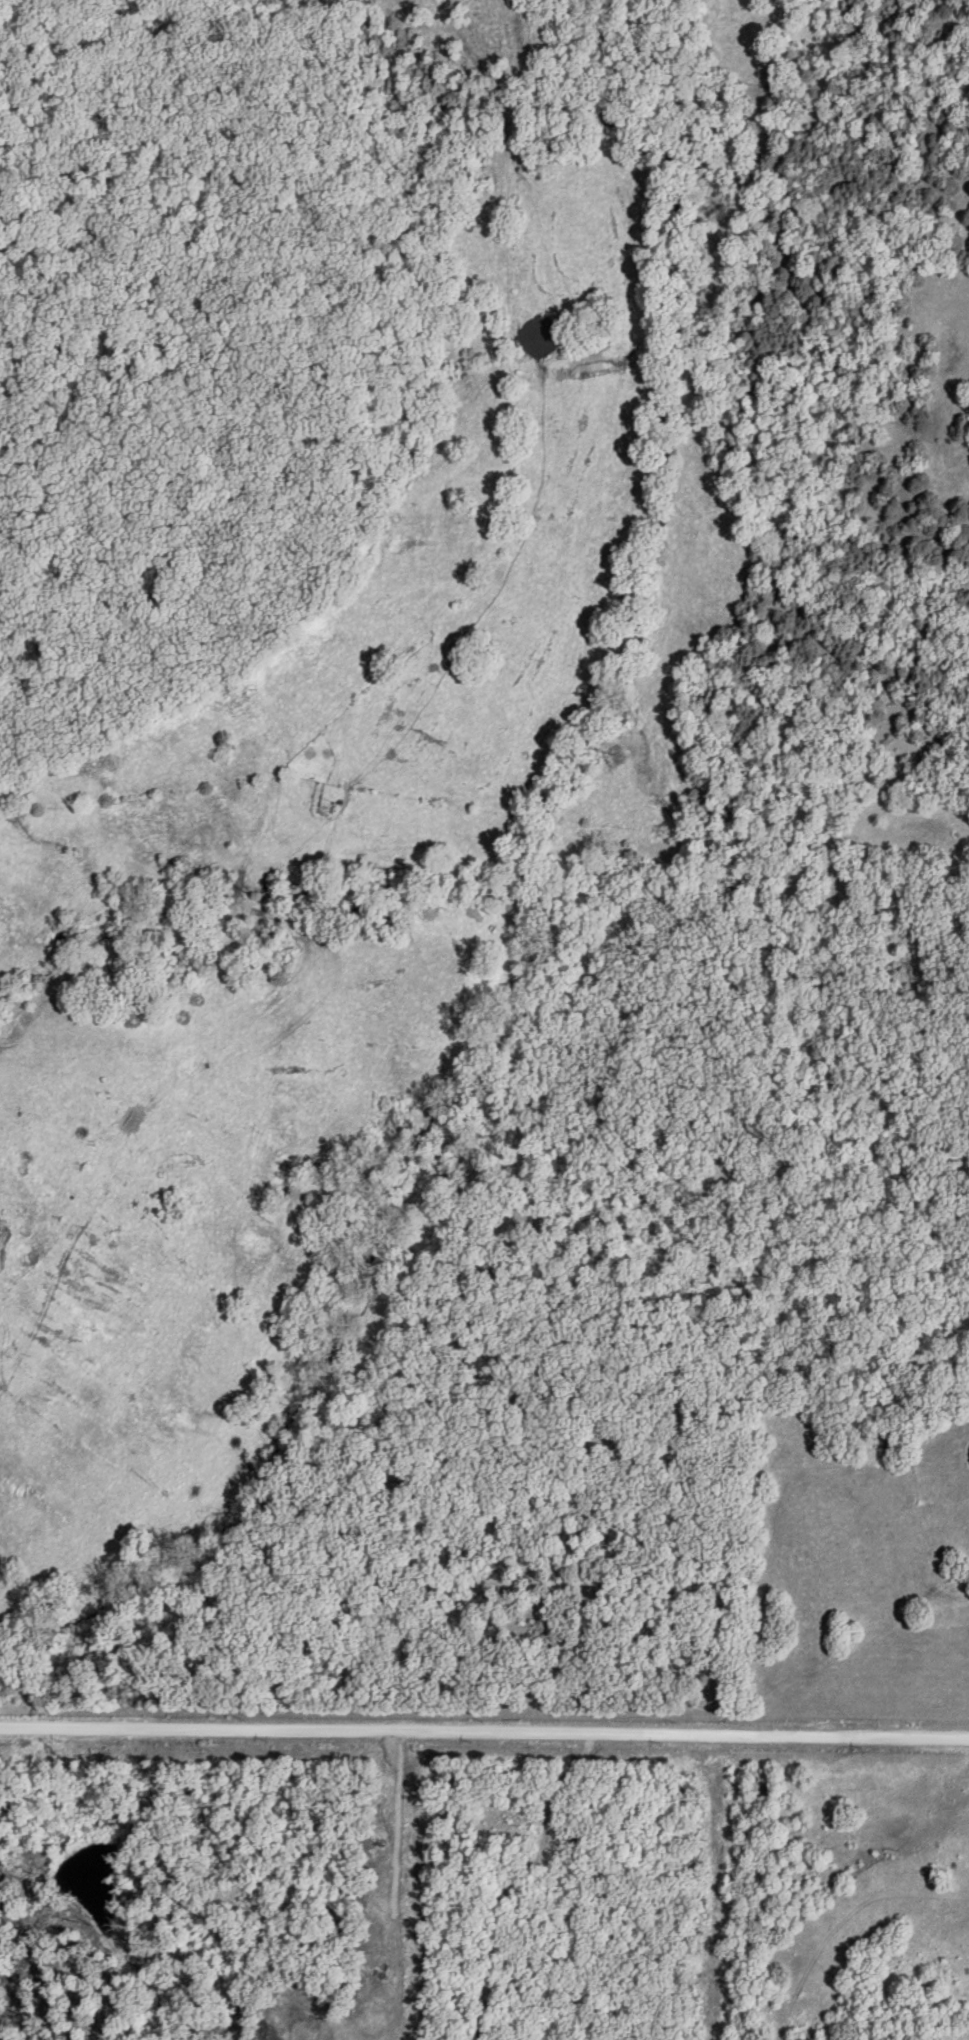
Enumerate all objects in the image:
road: (484, 1733)

